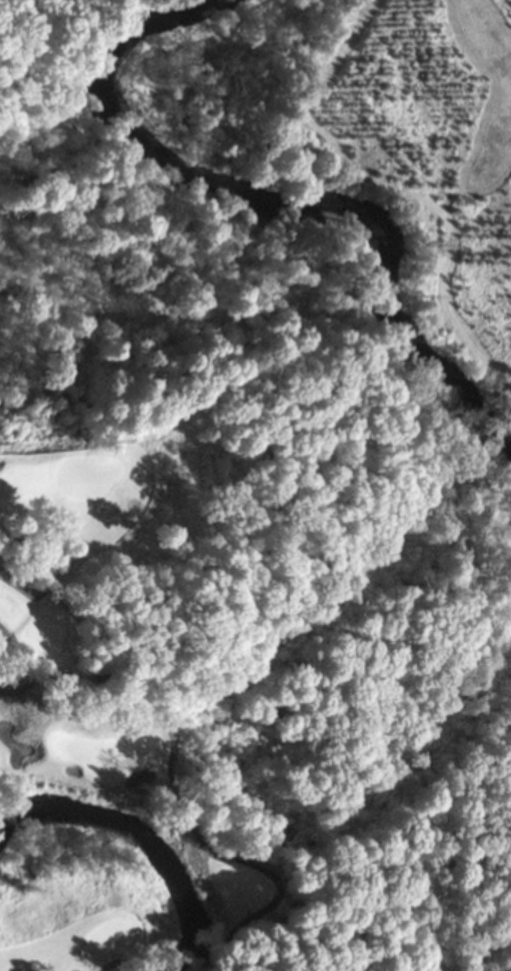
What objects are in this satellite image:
river: (286, 196)
road: (51, 575)
park: (115, 724)
road: (174, 789)
river: (139, 833)
road: (122, 961)

